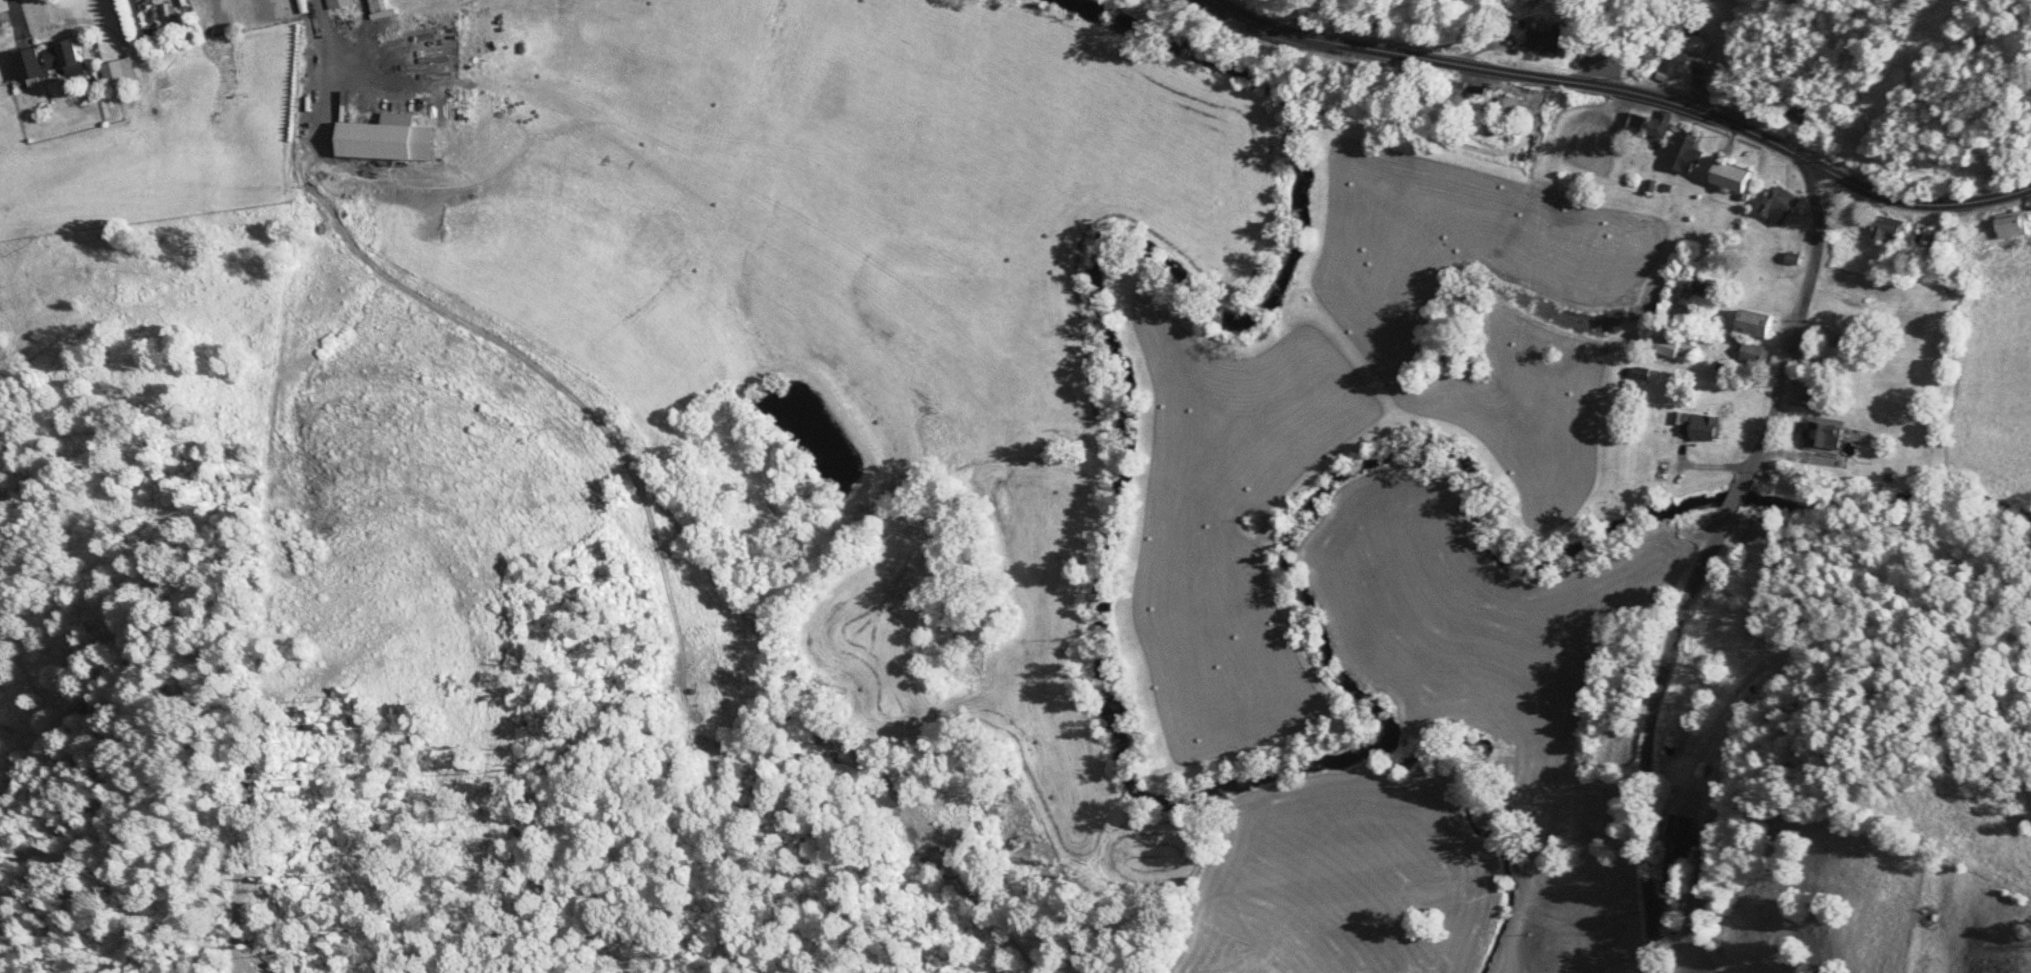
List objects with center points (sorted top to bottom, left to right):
building: (339, 4)
building: (1548, 40)
building: (1698, 57)
building: (52, 62)
road: (1513, 72)
building: (120, 73)
building: (1650, 126)
building: (1685, 154)
building: (1732, 176)
building: (2030, 201)
road: (1917, 203)
building: (1780, 206)
building: (2015, 225)
building: (1890, 230)
building: (1928, 238)
building: (1698, 289)
river: (1096, 315)
building: (1757, 324)
road: (1795, 324)
building: (1828, 336)
building: (1751, 353)
building: (1808, 358)
building: (1825, 399)
building: (1823, 436)
road: (1734, 499)
river: (1490, 549)
road: (1644, 737)
building: (1679, 830)

